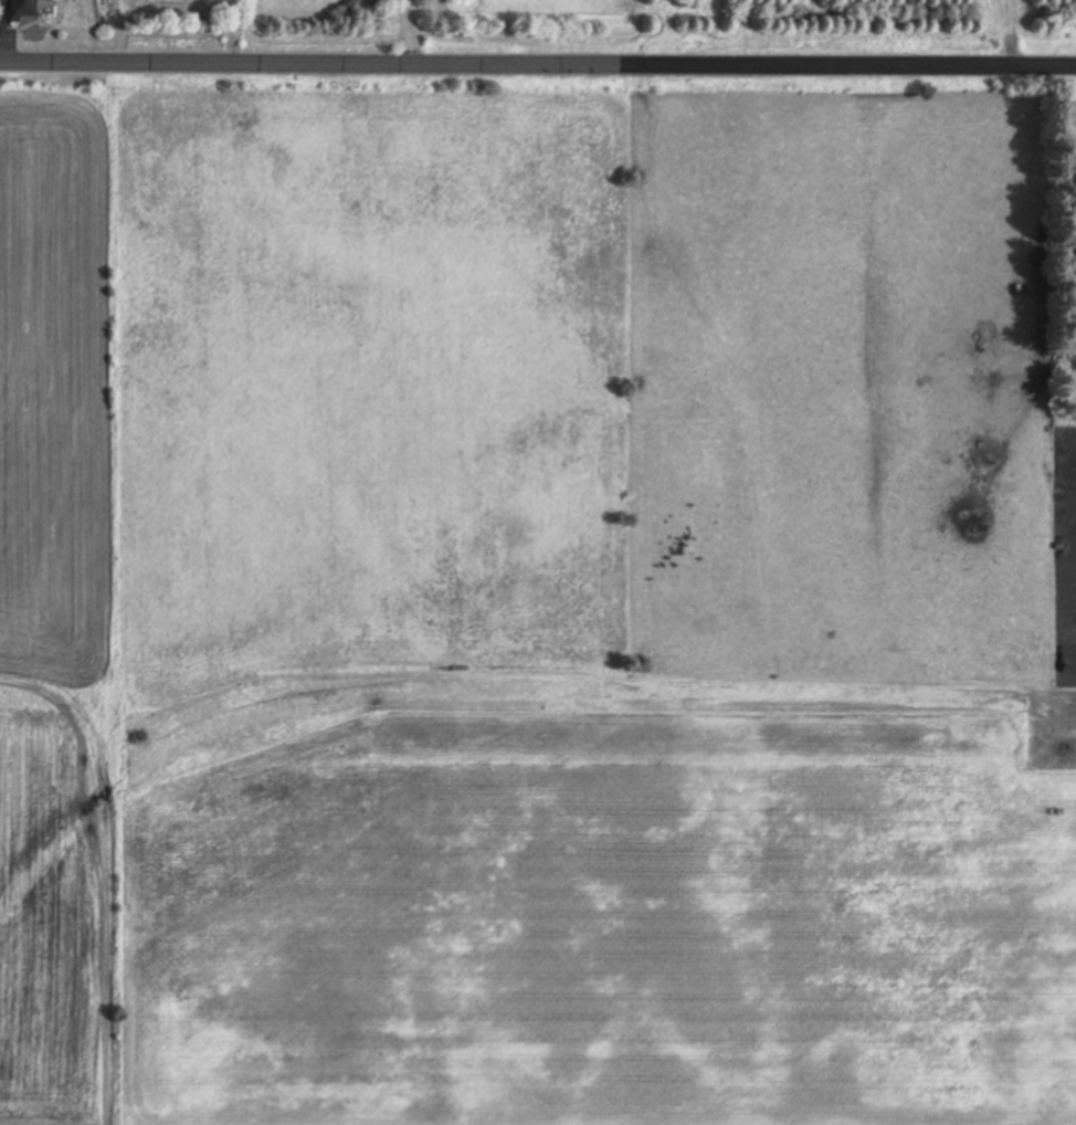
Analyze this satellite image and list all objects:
building: (21, 9)
road: (411, 31)
road: (538, 63)
crop: (532, 601)

